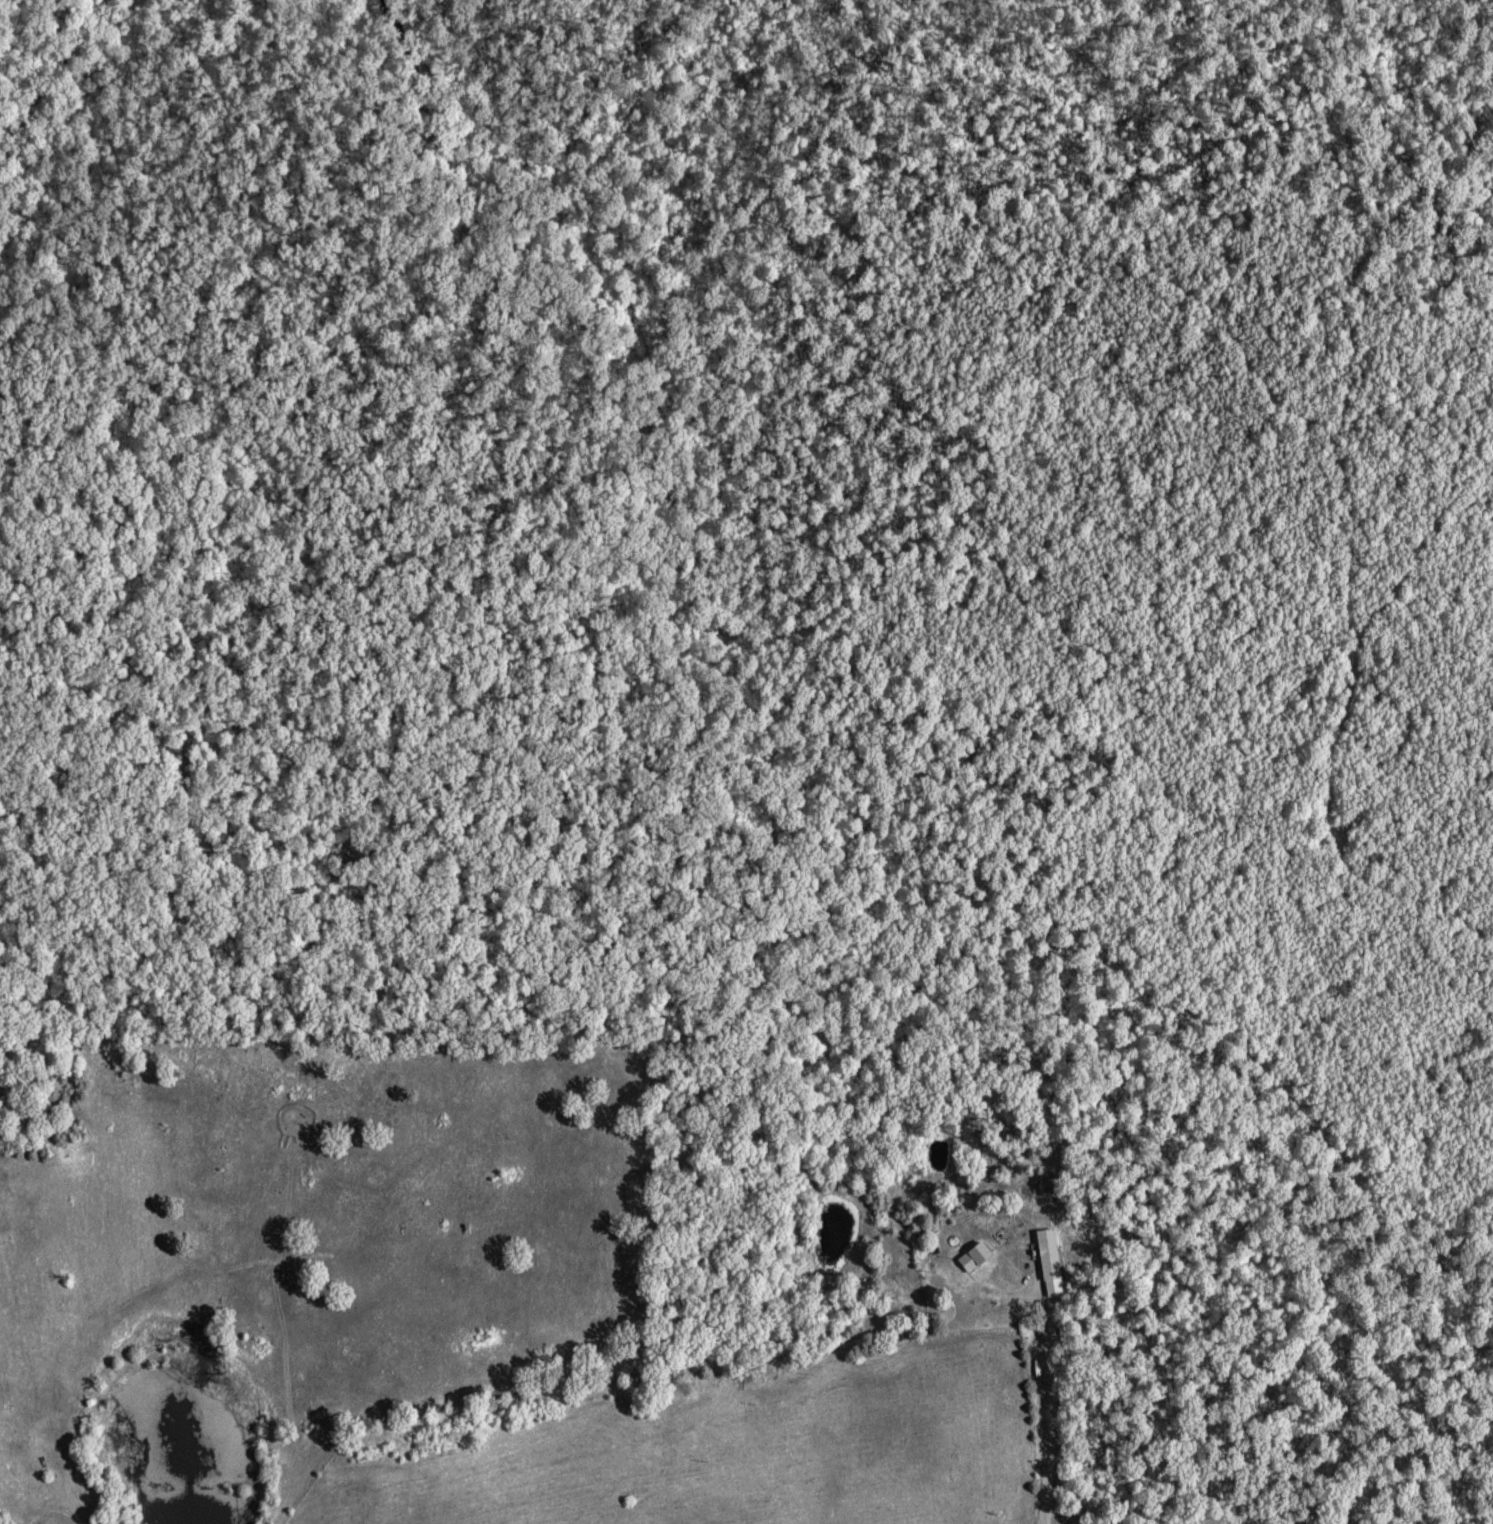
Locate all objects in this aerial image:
building: (1057, 1262)
road: (1389, 1486)

